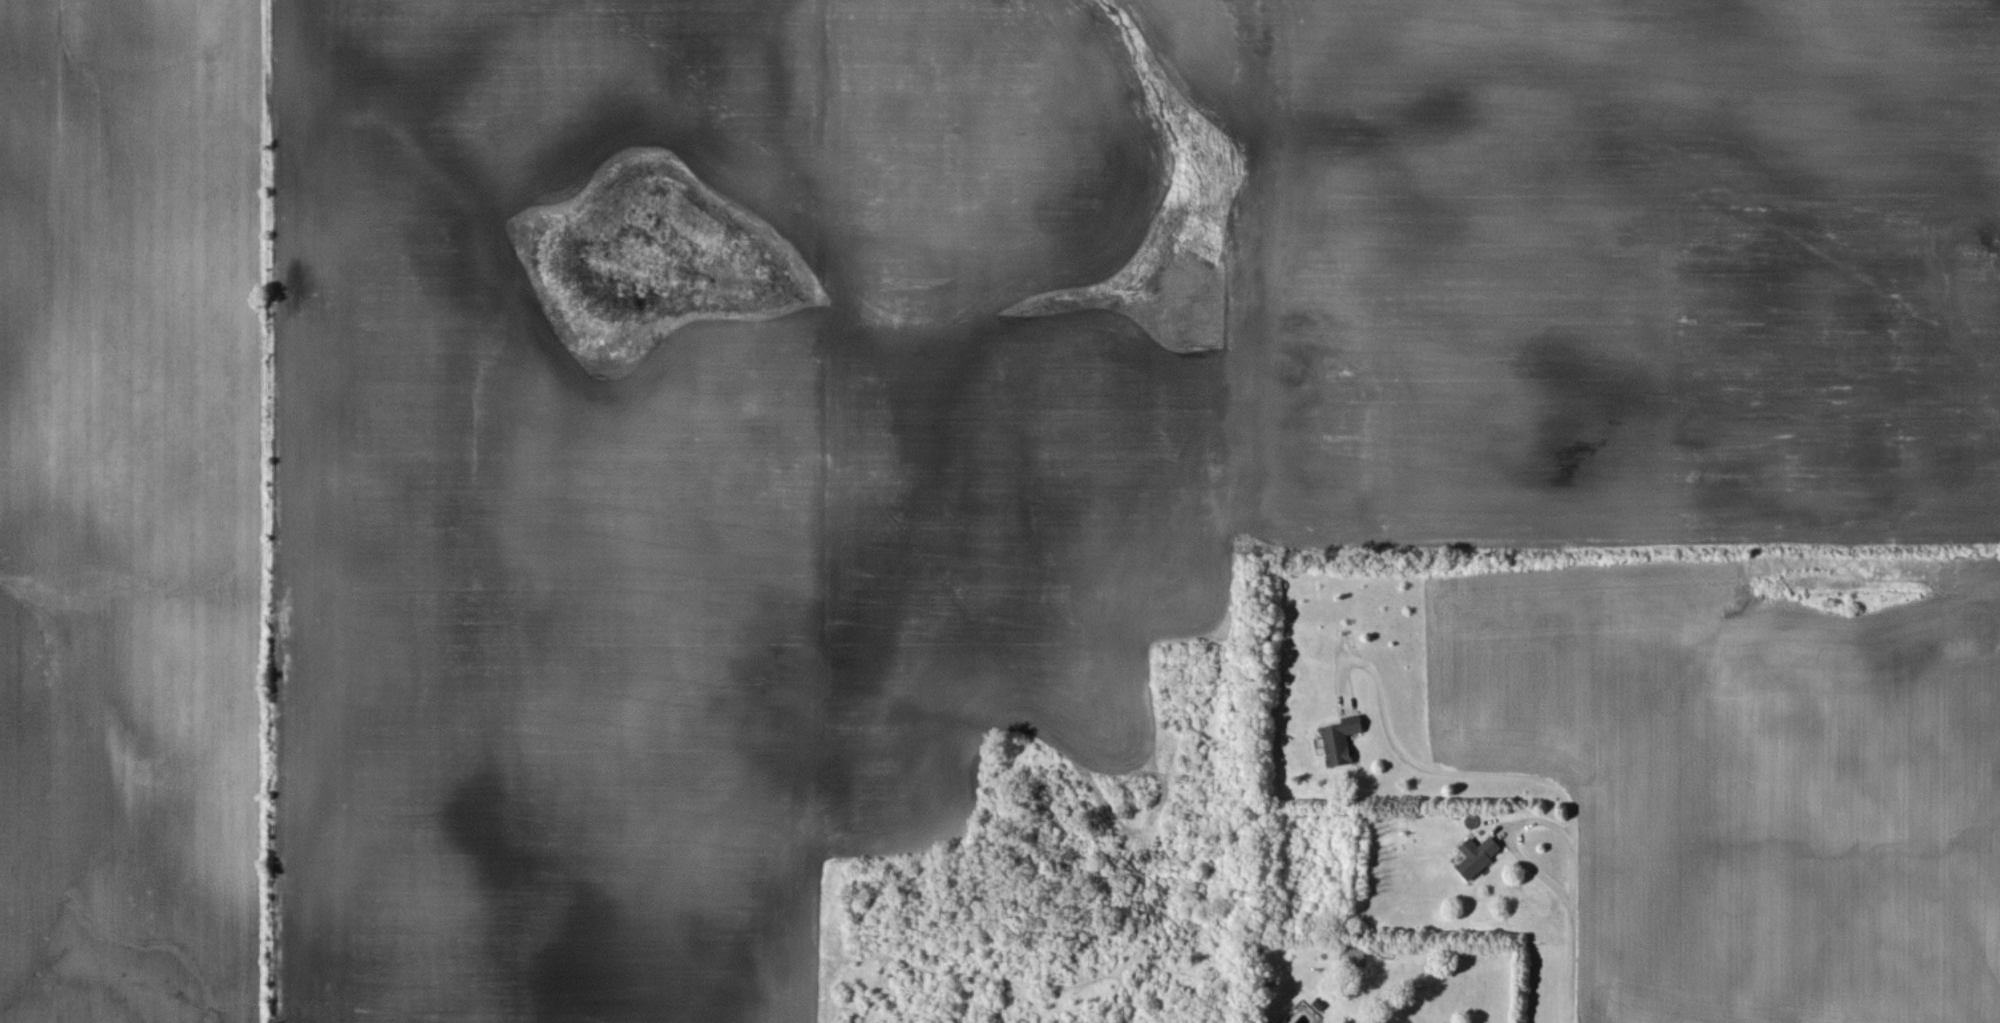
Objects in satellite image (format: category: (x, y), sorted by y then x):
building: (1342, 743)
road: (1522, 776)
building: (1349, 1022)

